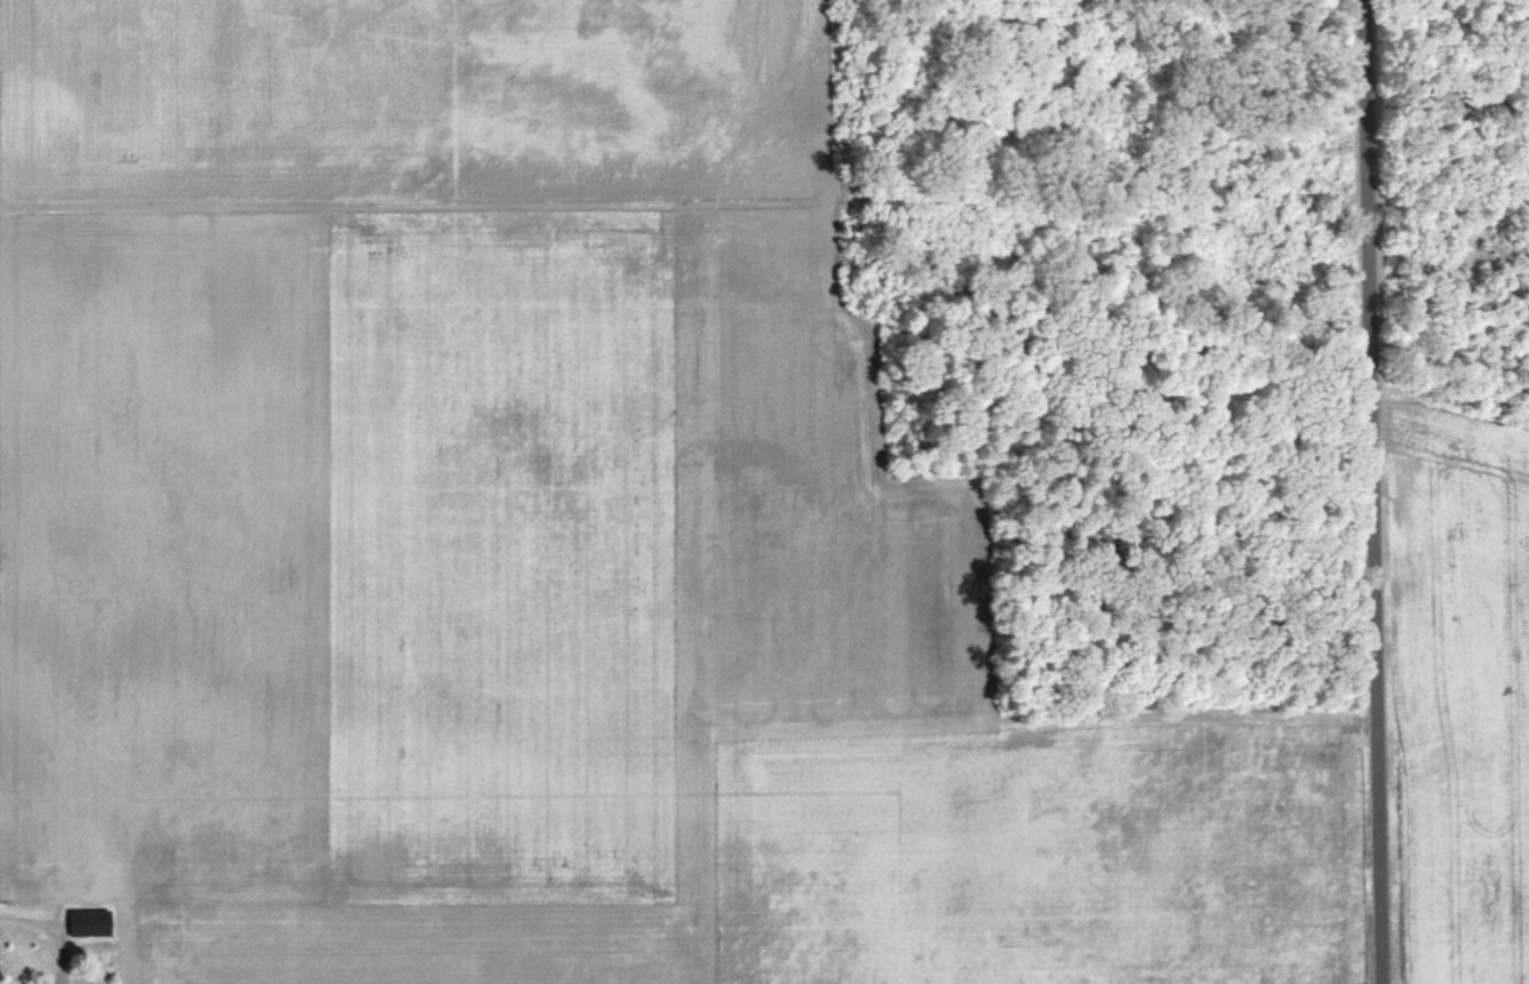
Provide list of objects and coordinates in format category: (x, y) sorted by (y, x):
road: (1374, 491)

